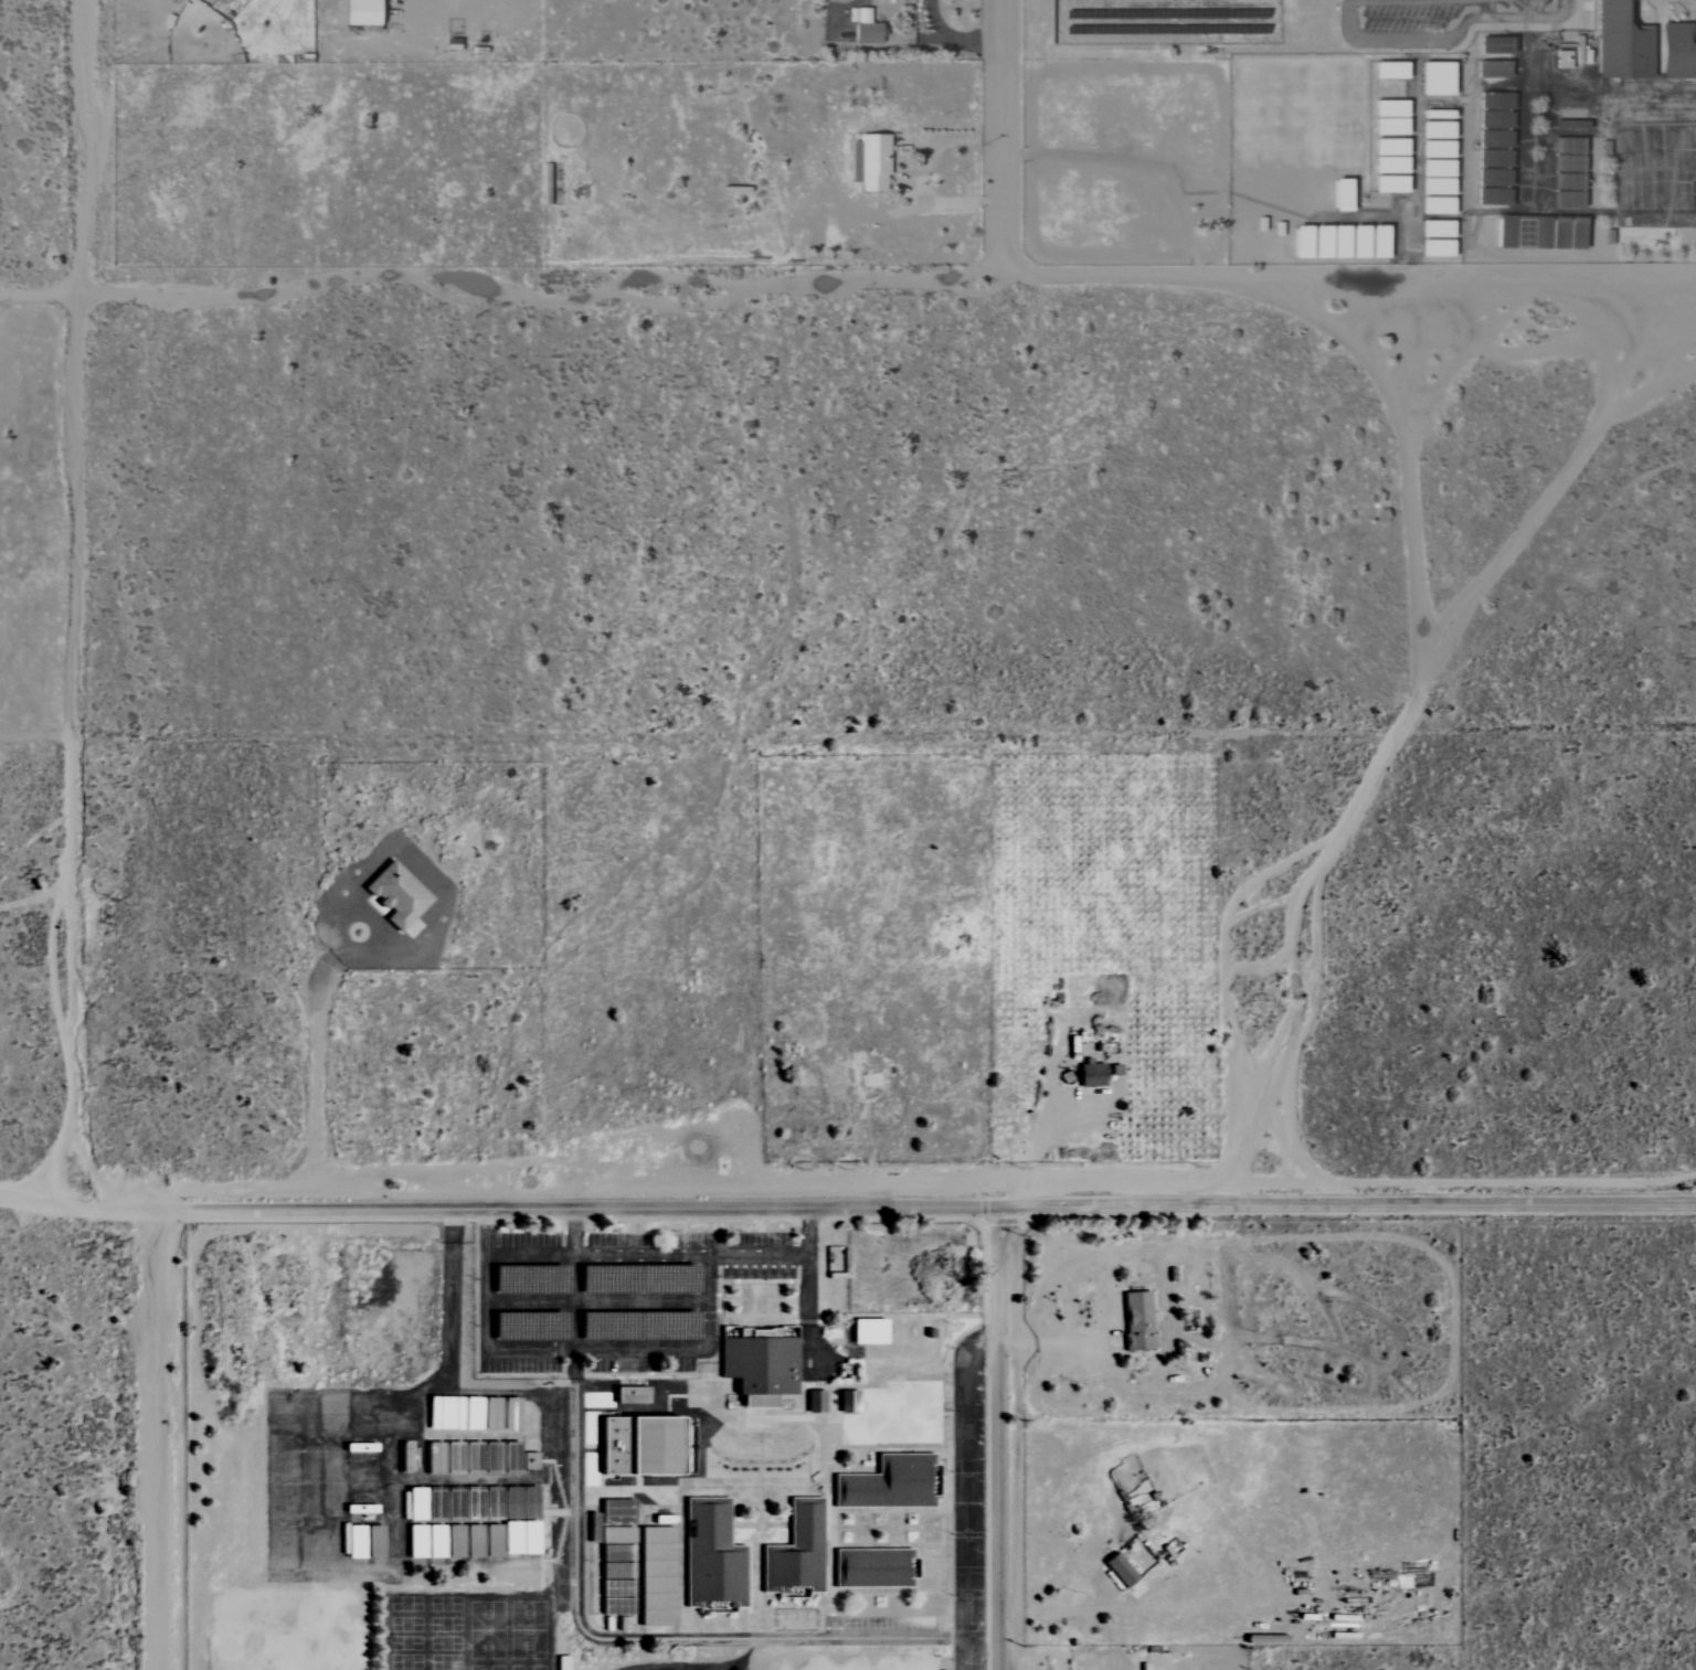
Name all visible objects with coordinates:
road: (1485, 9)
road: (1529, 9)
building: (371, 13)
building: (858, 14)
road: (953, 38)
road: (1449, 39)
building: (1620, 42)
building: (1494, 45)
building: (1388, 70)
building: (1491, 70)
building: (1433, 78)
building: (1494, 100)
building: (1388, 108)
building: (1432, 114)
building: (1493, 119)
building: (1388, 126)
building: (1434, 130)
road: (999, 136)
building: (1493, 139)
building: (1388, 147)
building: (1434, 149)
building: (1492, 159)
building: (868, 161)
building: (1387, 164)
building: (1433, 168)
road: (920, 173)
building: (1492, 178)
building: (1388, 183)
building: (1433, 185)
building: (1338, 194)
building: (1492, 196)
building: (1433, 205)
building: (1433, 228)
building: (1504, 231)
building: (1356, 241)
building: (1376, 241)
building: (1433, 248)
road: (842, 275)
road: (15, 309)
road: (74, 600)
building: (402, 895)
building: (1090, 1074)
road: (315, 1142)
road: (1037, 1146)
road: (73, 1201)
road: (920, 1204)
road: (573, 1230)
road: (485, 1232)
road: (639, 1254)
road: (780, 1254)
road: (529, 1256)
road: (595, 1301)
road: (807, 1306)
building: (1141, 1320)
road: (1052, 1344)
road: (597, 1350)
building: (757, 1364)
building: (622, 1396)
building: (815, 1401)
building: (452, 1413)
building: (499, 1413)
road: (996, 1437)
road: (155, 1438)
building: (432, 1459)
building: (527, 1461)
road: (963, 1496)
building: (469, 1503)
building: (517, 1536)
building: (469, 1540)
building: (352, 1541)
building: (371, 1541)
building: (413, 1541)
building: (433, 1541)
building: (711, 1556)
road: (1049, 1605)
road: (584, 1634)

